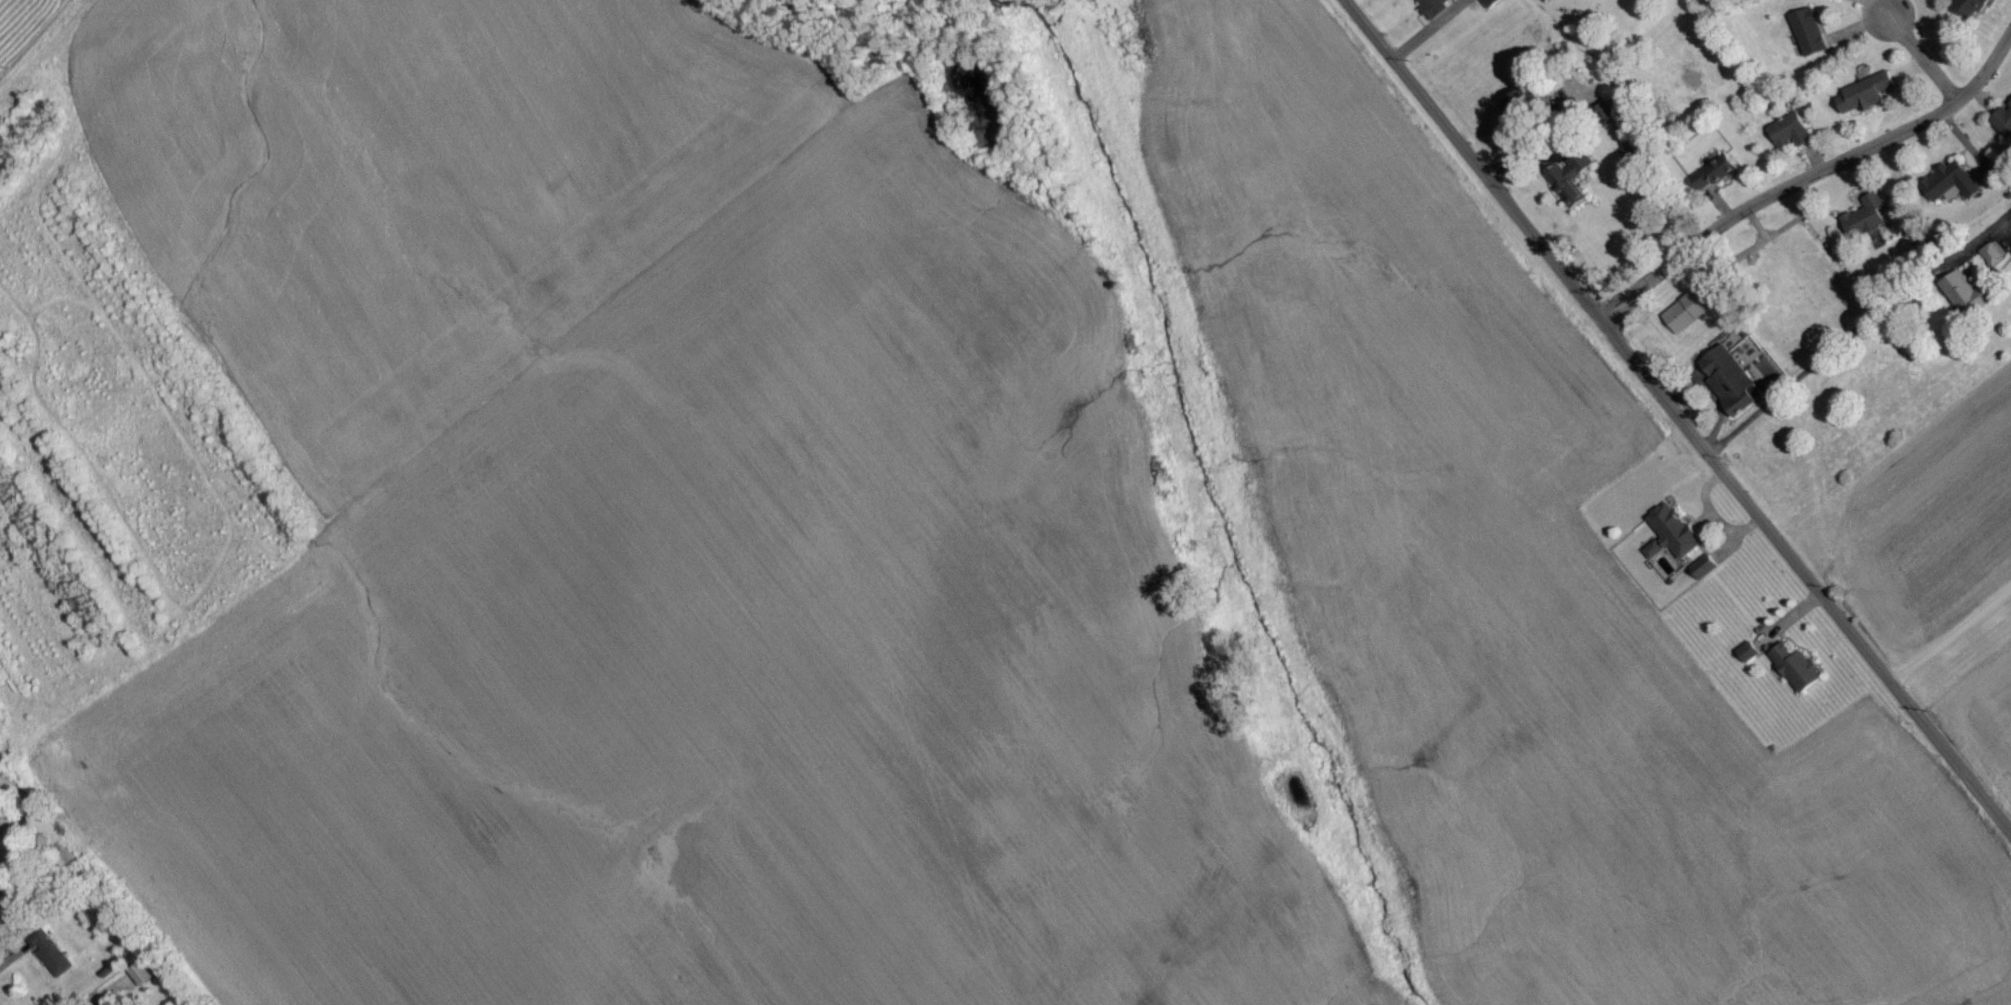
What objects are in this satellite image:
building: (1478, 1)
building: (1434, 6)
building: (1969, 11)
building: (1807, 38)
road: (1921, 66)
building: (1868, 98)
building: (1519, 116)
building: (2003, 126)
road: (1533, 135)
building: (1787, 140)
building: (1712, 179)
road: (1809, 184)
building: (1567, 186)
building: (1949, 187)
building: (1864, 226)
building: (2010, 256)
road: (1855, 331)
building: (1726, 389)
road: (1676, 421)
building: (1673, 536)
building: (1703, 574)
road: (1949, 637)
building: (1795, 672)
building: (2, 902)
building: (49, 958)
building: (140, 979)

